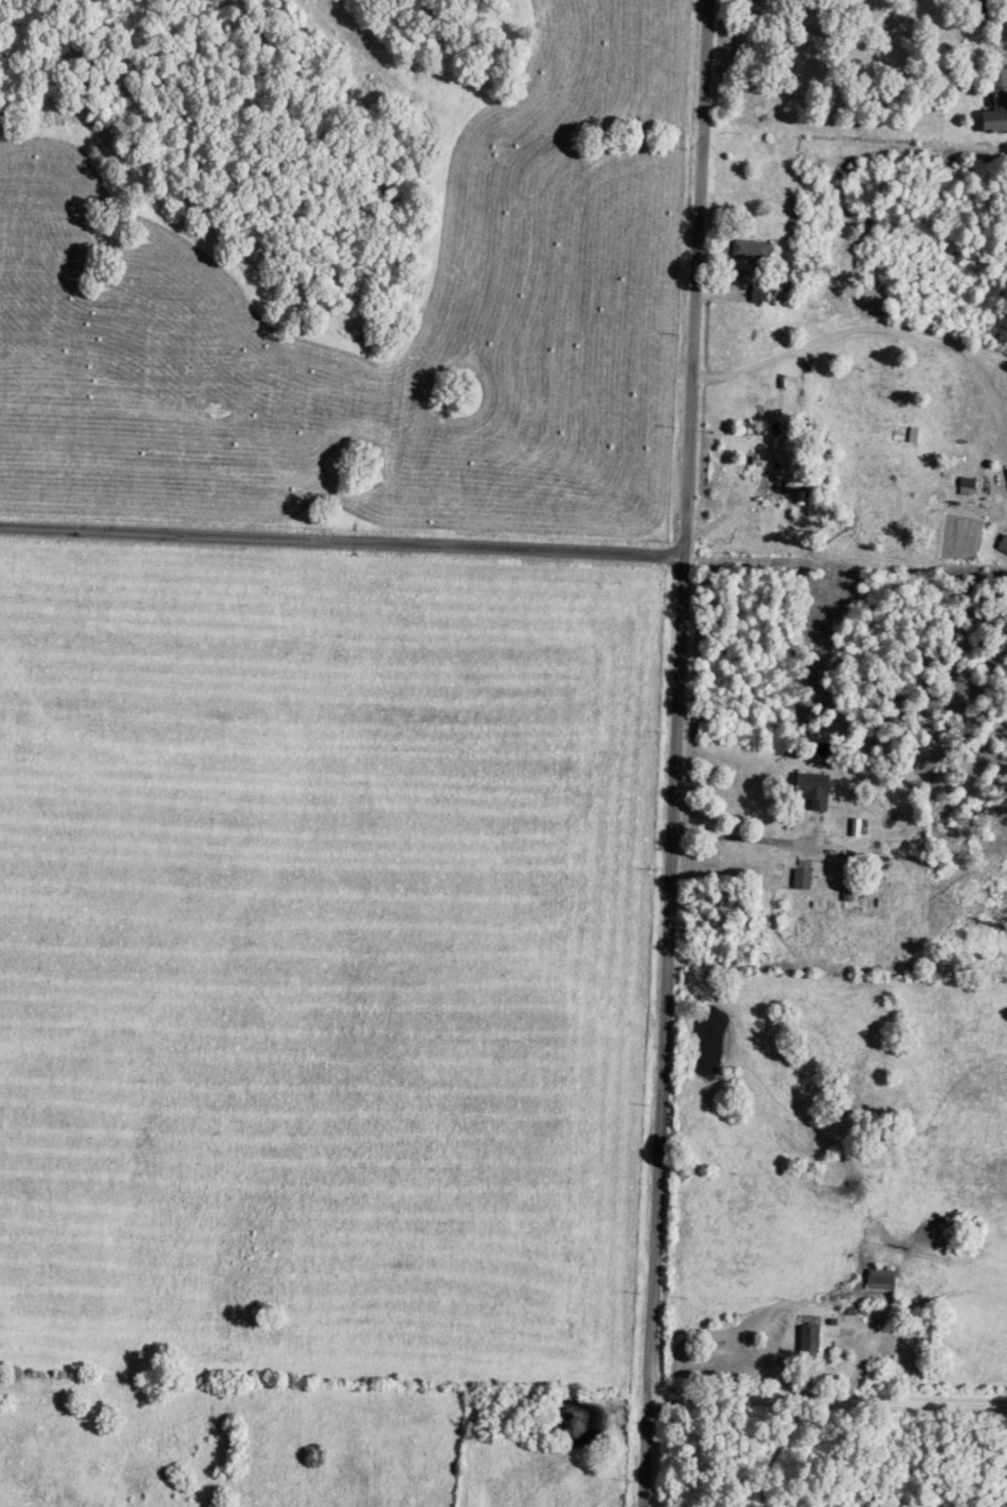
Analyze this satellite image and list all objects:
road: (836, 16)
road: (995, 20)
building: (998, 91)
building: (992, 124)
building: (748, 253)
building: (757, 298)
road: (866, 329)
building: (965, 485)
road: (340, 544)
building: (1002, 547)
road: (676, 751)
building: (810, 793)
building: (855, 830)
road: (756, 843)
building: (800, 881)
building: (878, 1282)
building: (806, 1344)
road: (829, 1406)

